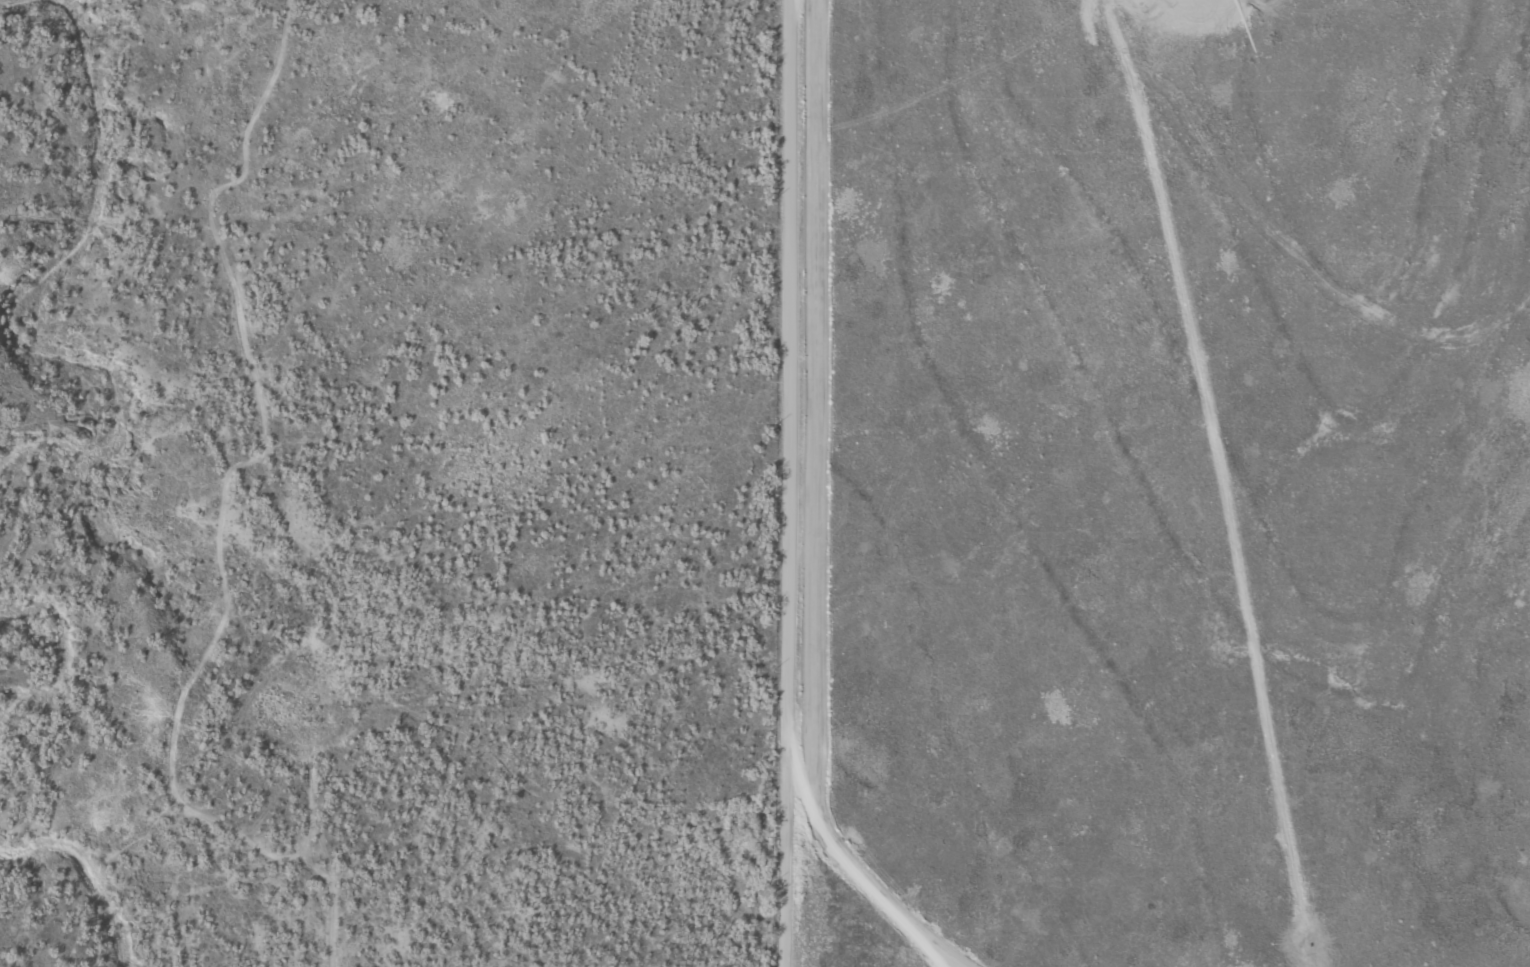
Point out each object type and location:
road: (832, 483)

